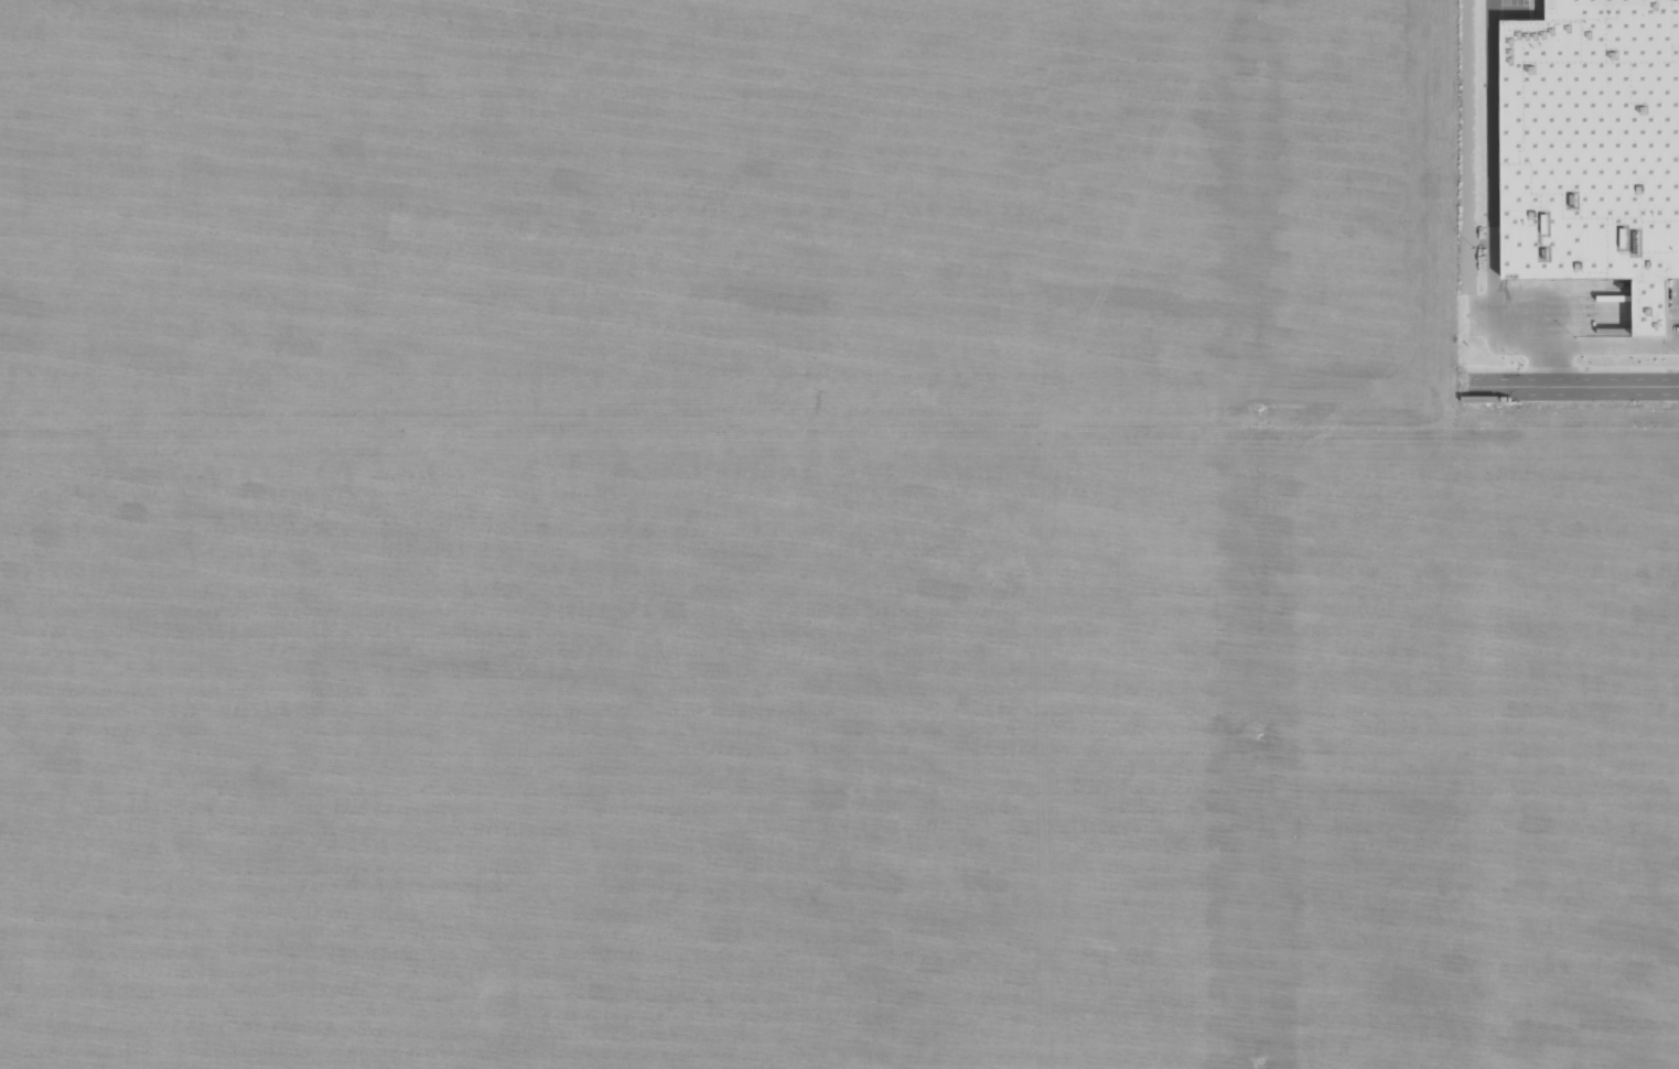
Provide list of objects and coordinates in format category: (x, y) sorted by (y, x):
building: (1594, 148)
road: (1489, 197)
road: (1592, 344)
road: (1575, 382)

